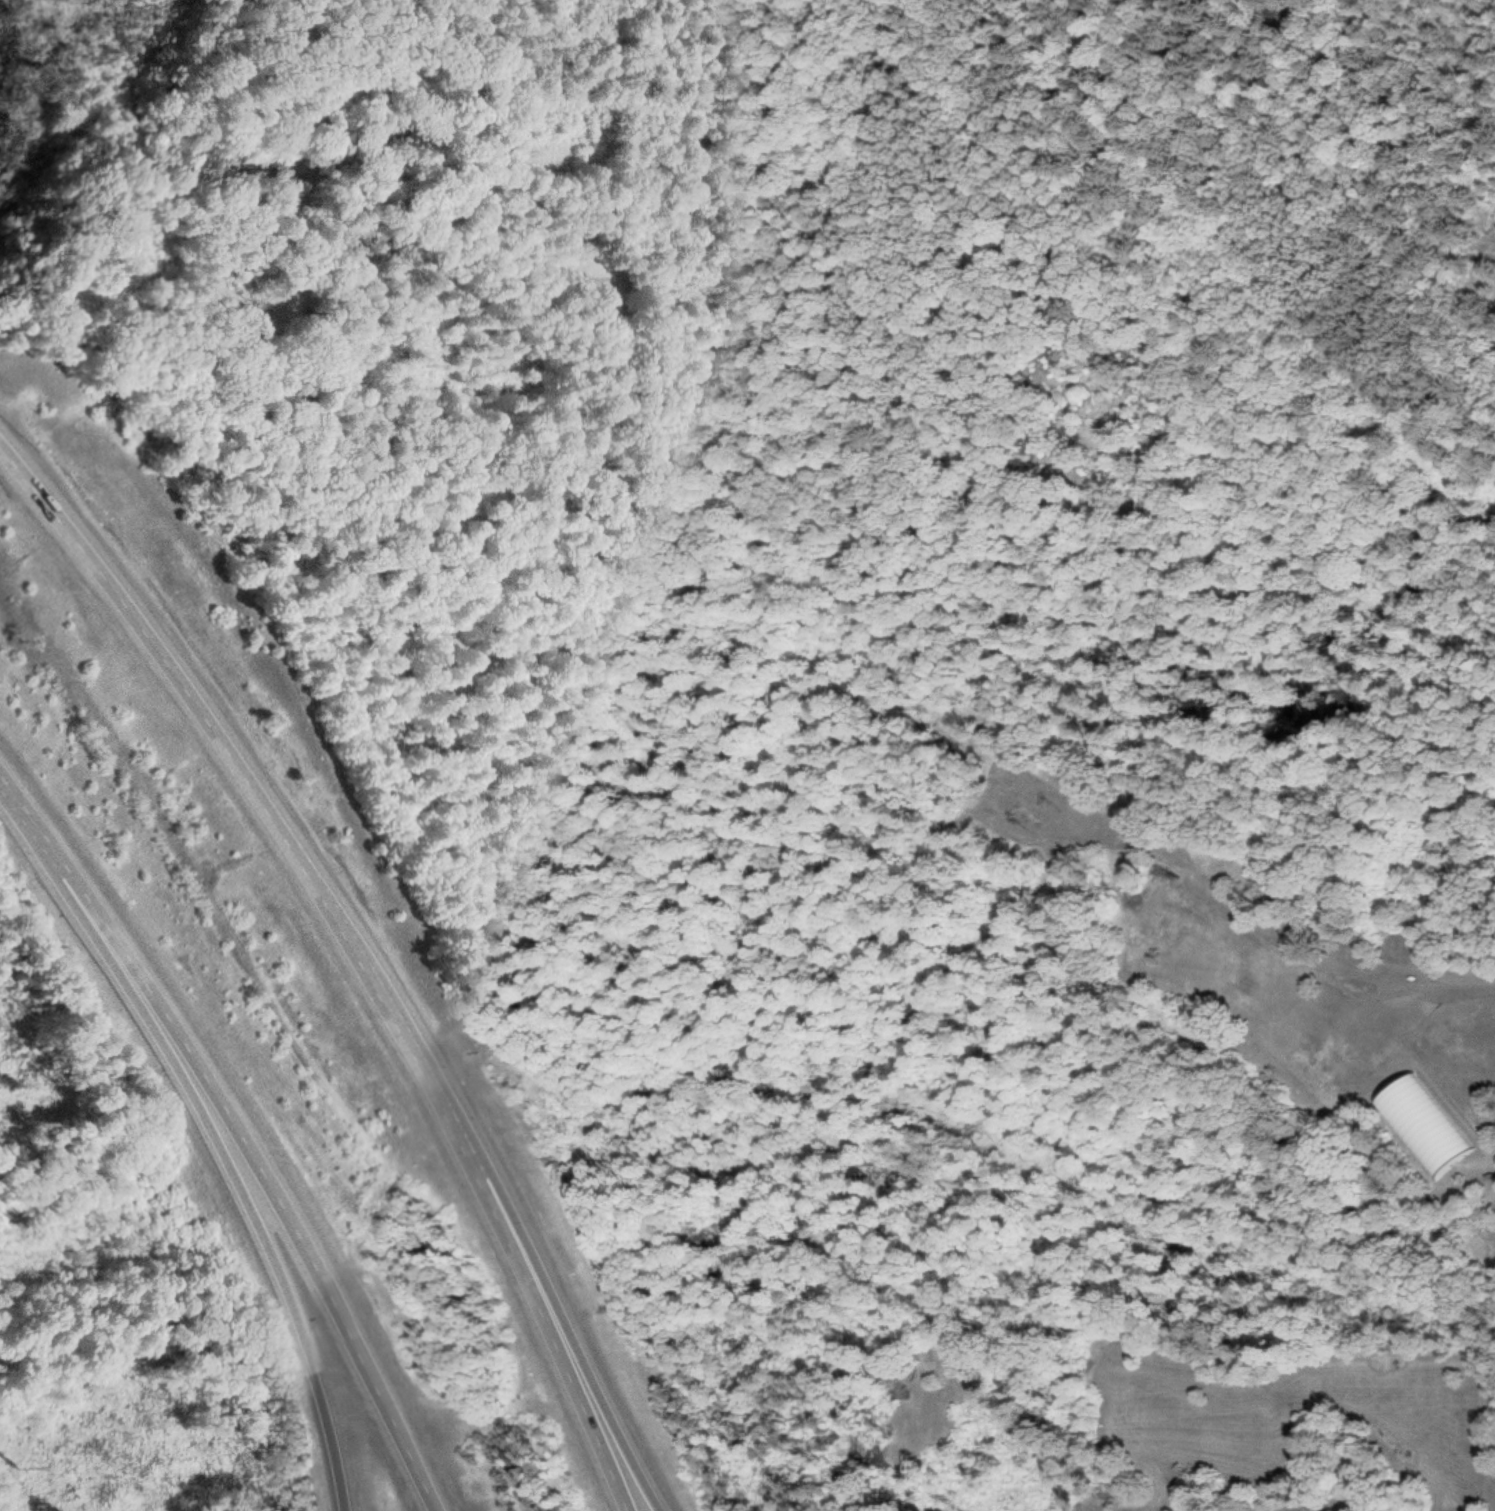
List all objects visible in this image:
road: (1295, 166)
road: (20, 456)
road: (372, 973)
building: (1424, 1128)
road: (234, 1136)
road: (206, 1138)
road: (594, 1396)

